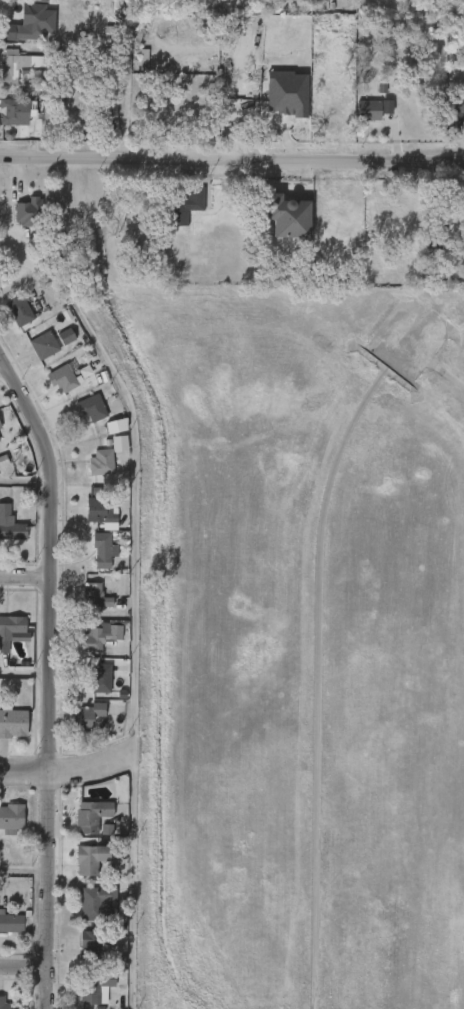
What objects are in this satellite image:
building: (31, 23)
building: (15, 65)
building: (131, 71)
building: (455, 110)
building: (10, 112)
building: (356, 122)
road: (232, 163)
building: (184, 206)
building: (28, 212)
building: (281, 214)
building: (16, 223)
building: (435, 250)
building: (20, 311)
building: (8, 323)
building: (43, 343)
building: (32, 357)
road: (1, 367)
road: (450, 376)
building: (62, 379)
building: (51, 390)
building: (92, 408)
building: (81, 420)
building: (0, 426)
building: (101, 462)
building: (89, 474)
road: (26, 481)
building: (0, 486)
building: (98, 510)
building: (87, 522)
building: (11, 524)
building: (6, 543)
building: (103, 549)
building: (91, 562)
road: (27, 575)
building: (95, 594)
building: (83, 607)
road: (132, 607)
building: (11, 630)
building: (101, 638)
building: (89, 647)
road: (25, 668)
road: (50, 678)
building: (100, 678)
building: (90, 689)
building: (88, 716)
building: (12, 721)
building: (76, 727)
road: (66, 770)
building: (93, 815)
building: (11, 819)
building: (79, 827)
building: (94, 840)
building: (94, 857)
road: (27, 870)
building: (78, 870)
building: (95, 902)
building: (10, 923)
building: (5, 934)
building: (95, 943)
building: (83, 953)
road: (25, 969)
building: (89, 988)
building: (82, 996)
building: (8, 1004)

